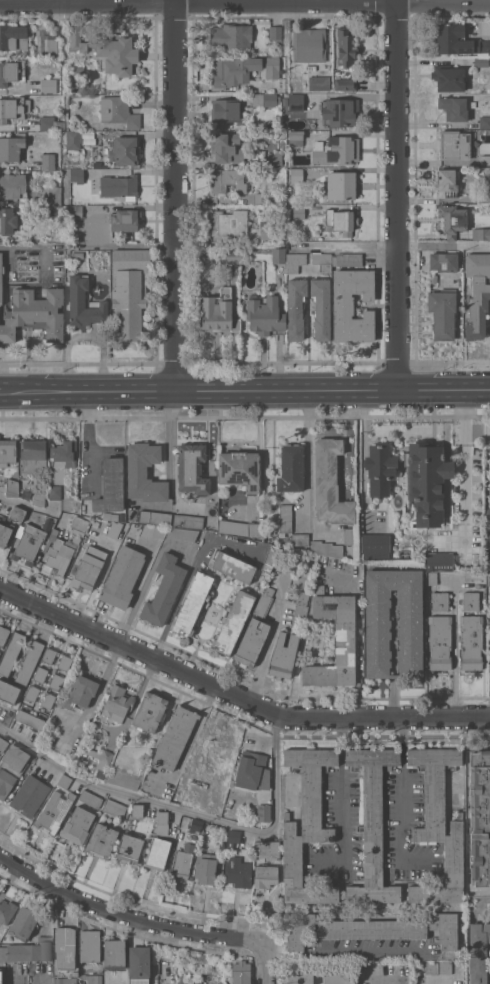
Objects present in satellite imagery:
road: (245, 2)
building: (275, 33)
building: (230, 35)
building: (13, 37)
building: (53, 40)
building: (77, 40)
building: (457, 40)
building: (309, 45)
building: (345, 47)
building: (115, 52)
building: (481, 61)
building: (272, 66)
building: (234, 70)
building: (11, 72)
building: (449, 78)
building: (319, 83)
building: (346, 84)
building: (49, 86)
building: (80, 88)
building: (257, 99)
building: (271, 99)
building: (285, 101)
building: (296, 102)
building: (13, 108)
building: (454, 108)
building: (119, 111)
building: (229, 111)
building: (339, 111)
building: (484, 122)
building: (51, 123)
building: (296, 137)
building: (73, 139)
building: (452, 144)
building: (227, 147)
building: (11, 148)
building: (336, 150)
building: (126, 151)
building: (485, 159)
building: (274, 160)
building: (48, 161)
building: (99, 164)
building: (297, 173)
building: (76, 174)
building: (488, 176)
building: (227, 180)
building: (447, 182)
building: (342, 185)
building: (13, 186)
building: (120, 186)
road: (396, 194)
building: (54, 195)
road: (174, 195)
building: (484, 196)
building: (254, 198)
building: (298, 212)
building: (125, 219)
building: (452, 219)
building: (7, 220)
building: (75, 221)
building: (341, 221)
building: (228, 222)
building: (265, 230)
building: (483, 233)
road: (373, 244)
road: (27, 245)
building: (77, 255)
building: (233, 255)
building: (278, 256)
building: (347, 259)
building: (295, 261)
building: (322, 261)
building: (443, 261)
building: (1, 277)
building: (434, 278)
building: (130, 293)
building: (477, 294)
building: (84, 303)
building: (352, 305)
building: (321, 307)
building: (296, 308)
building: (219, 311)
building: (442, 313)
building: (34, 314)
building: (265, 314)
road: (247, 390)
road: (3, 394)
road: (87, 442)
building: (489, 449)
building: (7, 451)
road: (172, 453)
building: (64, 454)
building: (33, 455)
road: (465, 458)
road: (307, 459)
building: (192, 468)
building: (291, 468)
building: (240, 469)
building: (380, 469)
building: (144, 473)
road: (359, 478)
building: (426, 481)
building: (40, 483)
building: (330, 483)
building: (111, 486)
building: (11, 487)
building: (55, 492)
building: (40, 496)
road: (27, 506)
building: (17, 512)
building: (122, 517)
building: (488, 517)
building: (155, 518)
building: (286, 518)
building: (188, 520)
building: (79, 525)
building: (241, 528)
building: (169, 532)
building: (5, 533)
building: (349, 535)
building: (300, 539)
building: (28, 542)
building: (376, 547)
building: (327, 548)
building: (59, 553)
building: (270, 558)
building: (19, 559)
building: (439, 561)
building: (488, 565)
building: (88, 567)
building: (233, 567)
road: (189, 575)
building: (123, 576)
building: (431, 577)
building: (488, 578)
building: (164, 590)
building: (440, 600)
building: (470, 601)
building: (193, 603)
building: (300, 609)
building: (233, 621)
building: (488, 621)
building: (409, 623)
building: (255, 630)
building: (3, 635)
building: (335, 640)
building: (471, 641)
road: (358, 642)
building: (439, 642)
road: (454, 646)
building: (11, 653)
building: (49, 655)
building: (283, 656)
building: (29, 661)
building: (65, 662)
building: (489, 668)
building: (41, 674)
building: (56, 681)
building: (8, 691)
building: (79, 692)
building: (32, 693)
road: (235, 696)
building: (48, 700)
building: (118, 703)
building: (150, 711)
building: (27, 724)
building: (175, 737)
building: (3, 743)
building: (216, 748)
building: (101, 757)
building: (11, 768)
building: (250, 768)
building: (123, 778)
building: (64, 781)
road: (402, 789)
road: (342, 790)
building: (30, 795)
building: (91, 799)
building: (203, 801)
building: (228, 805)
building: (115, 808)
building: (137, 810)
building: (54, 811)
building: (262, 812)
road: (184, 814)
building: (480, 818)
building: (161, 823)
building: (439, 824)
building: (78, 825)
building: (306, 825)
building: (373, 825)
building: (196, 826)
building: (233, 837)
building: (102, 841)
building: (222, 844)
building: (128, 849)
building: (269, 850)
building: (158, 853)
building: (183, 860)
building: (206, 867)
building: (239, 872)
building: (265, 876)
building: (6, 911)
road: (127, 914)
building: (25, 923)
building: (371, 929)
building: (90, 945)
road: (344, 950)
building: (27, 952)
building: (66, 952)
building: (478, 952)
building: (114, 954)
road: (268, 962)
building: (139, 965)
building: (431, 967)
building: (445, 968)
building: (242, 972)
building: (83, 976)
building: (300, 976)
building: (336, 976)
building: (95, 979)
building: (66, 980)
building: (182, 980)

